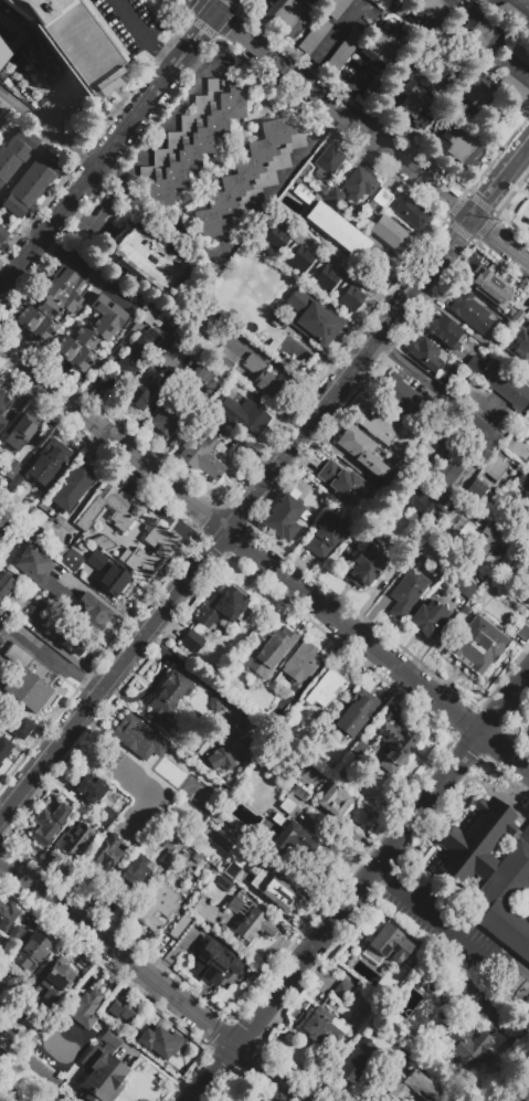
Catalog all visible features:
building: (389, 0)
building: (480, 1)
road: (205, 7)
road: (221, 8)
building: (336, 8)
road: (522, 8)
parking lot: (515, 10)
building: (433, 14)
building: (508, 14)
building: (287, 15)
road: (146, 33)
building: (479, 34)
building: (314, 35)
building: (60, 41)
road: (329, 43)
building: (384, 45)
road: (190, 47)
building: (342, 51)
building: (519, 54)
building: (490, 67)
road: (511, 70)
building: (514, 88)
building: (374, 93)
building: (472, 94)
building: (412, 105)
building: (1, 118)
road: (162, 124)
road: (47, 129)
road: (372, 140)
building: (190, 141)
building: (458, 148)
building: (13, 151)
building: (327, 161)
building: (247, 179)
road: (279, 181)
building: (30, 183)
road: (82, 184)
building: (358, 184)
building: (301, 193)
building: (382, 197)
building: (338, 199)
building: (409, 211)
building: (338, 230)
building: (390, 233)
building: (2, 235)
building: (150, 263)
building: (310, 265)
road: (348, 272)
road: (86, 275)
building: (491, 288)
building: (52, 303)
building: (229, 304)
building: (469, 310)
building: (150, 318)
building: (313, 318)
building: (202, 329)
building: (444, 330)
building: (93, 336)
building: (520, 343)
building: (277, 348)
building: (426, 352)
building: (506, 353)
building: (171, 356)
building: (225, 358)
building: (129, 361)
building: (474, 364)
building: (523, 374)
building: (261, 375)
building: (198, 380)
building: (443, 380)
road: (434, 384)
building: (507, 385)
building: (140, 391)
building: (406, 399)
building: (3, 401)
road: (151, 404)
building: (169, 413)
building: (242, 414)
building: (2, 421)
building: (379, 426)
building: (476, 430)
building: (20, 432)
road: (114, 443)
building: (427, 447)
building: (204, 449)
building: (360, 449)
building: (47, 463)
building: (527, 466)
building: (449, 469)
building: (12, 470)
building: (338, 480)
building: (523, 480)
road: (265, 485)
building: (394, 485)
building: (72, 486)
building: (477, 490)
building: (416, 501)
building: (442, 504)
building: (124, 508)
building: (24, 512)
building: (284, 516)
building: (2, 527)
building: (326, 534)
building: (482, 540)
building: (46, 541)
building: (150, 552)
building: (71, 560)
building: (96, 560)
building: (363, 567)
building: (39, 573)
building: (113, 579)
building: (4, 585)
building: (466, 587)
building: (406, 593)
building: (45, 606)
building: (224, 606)
building: (94, 613)
building: (427, 617)
building: (522, 632)
road: (353, 634)
building: (71, 639)
building: (189, 644)
building: (477, 645)
building: (268, 653)
road: (56, 661)
building: (300, 663)
building: (0, 669)
road: (199, 679)
building: (29, 681)
building: (326, 687)
building: (170, 694)
road: (505, 705)
building: (214, 707)
building: (355, 712)
building: (21, 728)
building: (241, 729)
building: (135, 735)
building: (395, 743)
building: (3, 747)
building: (359, 750)
building: (240, 752)
building: (338, 753)
road: (505, 753)
building: (220, 759)
building: (119, 766)
building: (192, 783)
building: (88, 786)
building: (298, 792)
building: (151, 795)
building: (334, 800)
building: (286, 805)
building: (105, 815)
building: (50, 822)
building: (145, 824)
building: (287, 837)
building: (73, 838)
building: (171, 851)
building: (105, 854)
building: (231, 871)
building: (493, 872)
building: (134, 876)
road: (379, 881)
building: (223, 883)
building: (278, 893)
building: (156, 906)
building: (7, 915)
road: (336, 918)
building: (247, 922)
building: (179, 927)
road: (442, 931)
building: (17, 935)
building: (389, 942)
building: (30, 952)
building: (214, 963)
building: (425, 977)
road: (154, 980)
building: (55, 981)
building: (464, 985)
building: (509, 985)
building: (342, 989)
building: (0, 999)
building: (86, 1008)
building: (119, 1010)
building: (321, 1027)
building: (112, 1037)
building: (463, 1040)
road: (519, 1040)
building: (158, 1041)
building: (403, 1059)
building: (355, 1061)
building: (100, 1076)
building: (413, 1089)
building: (520, 1095)

